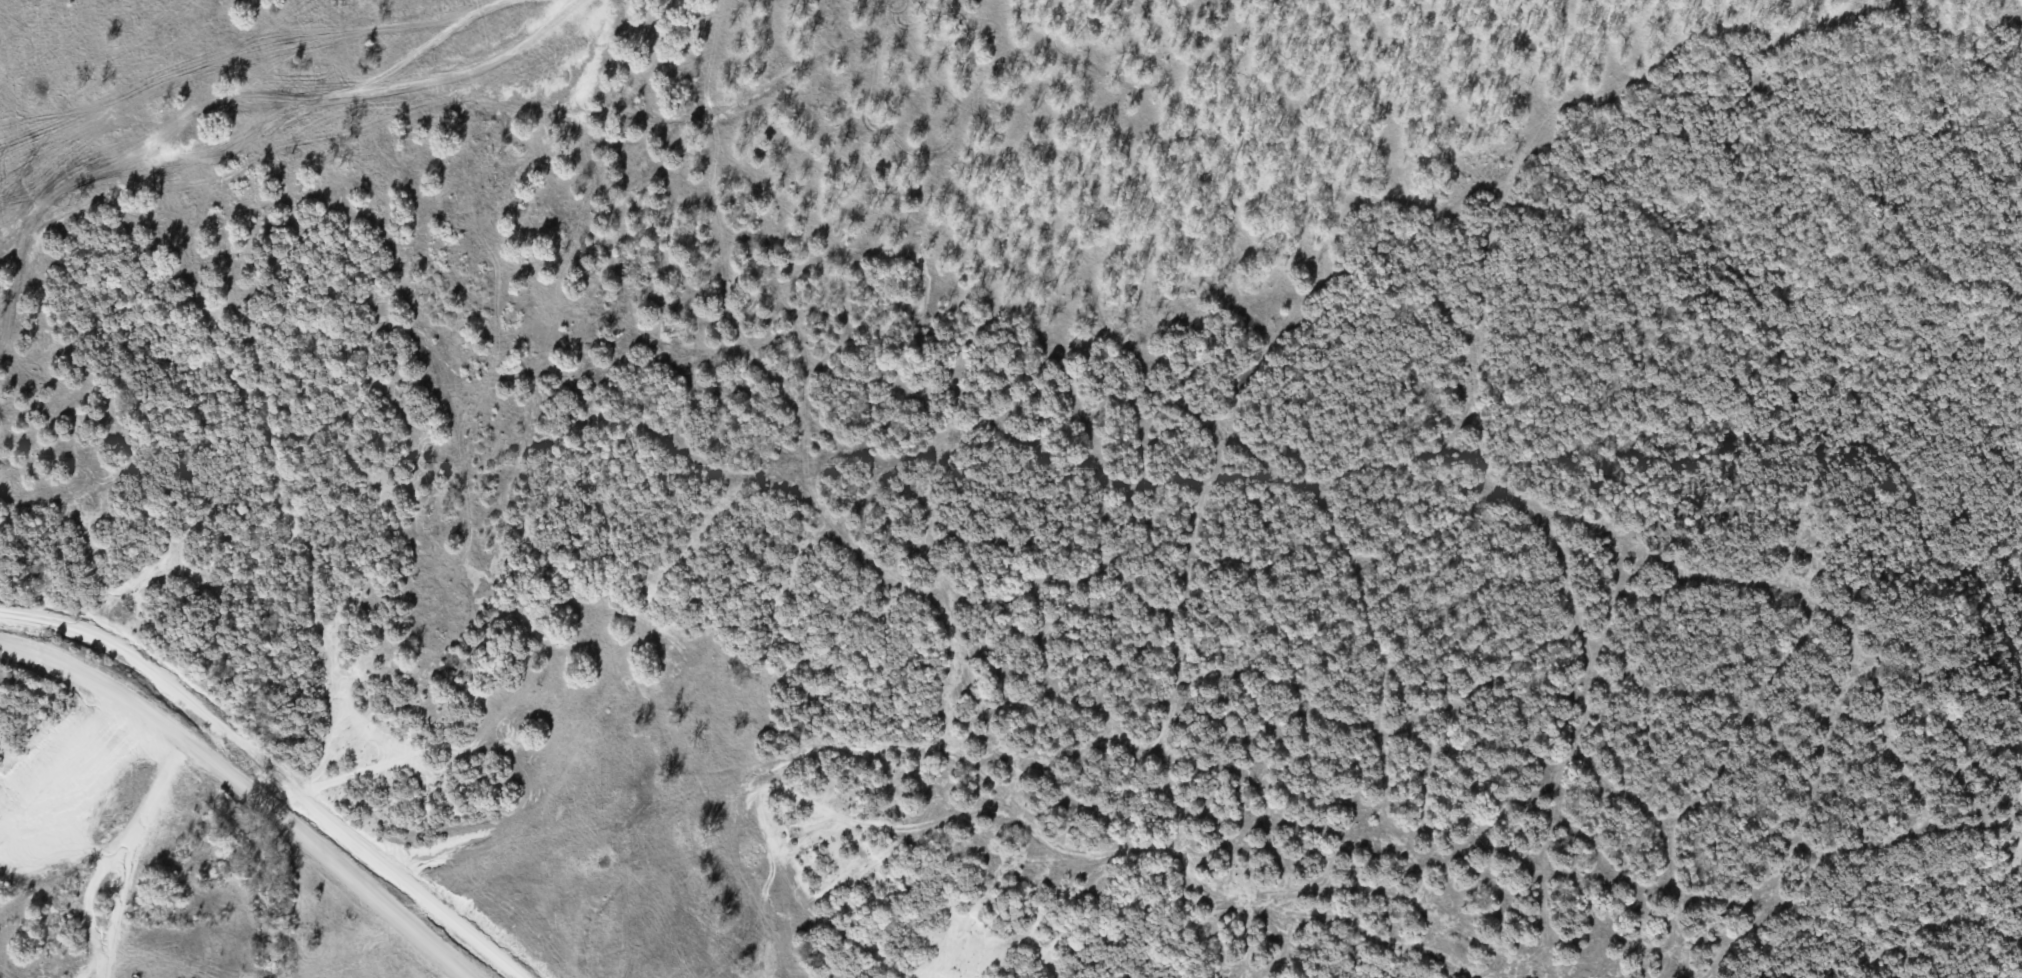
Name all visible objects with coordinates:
road: (271, 773)
road: (251, 793)

